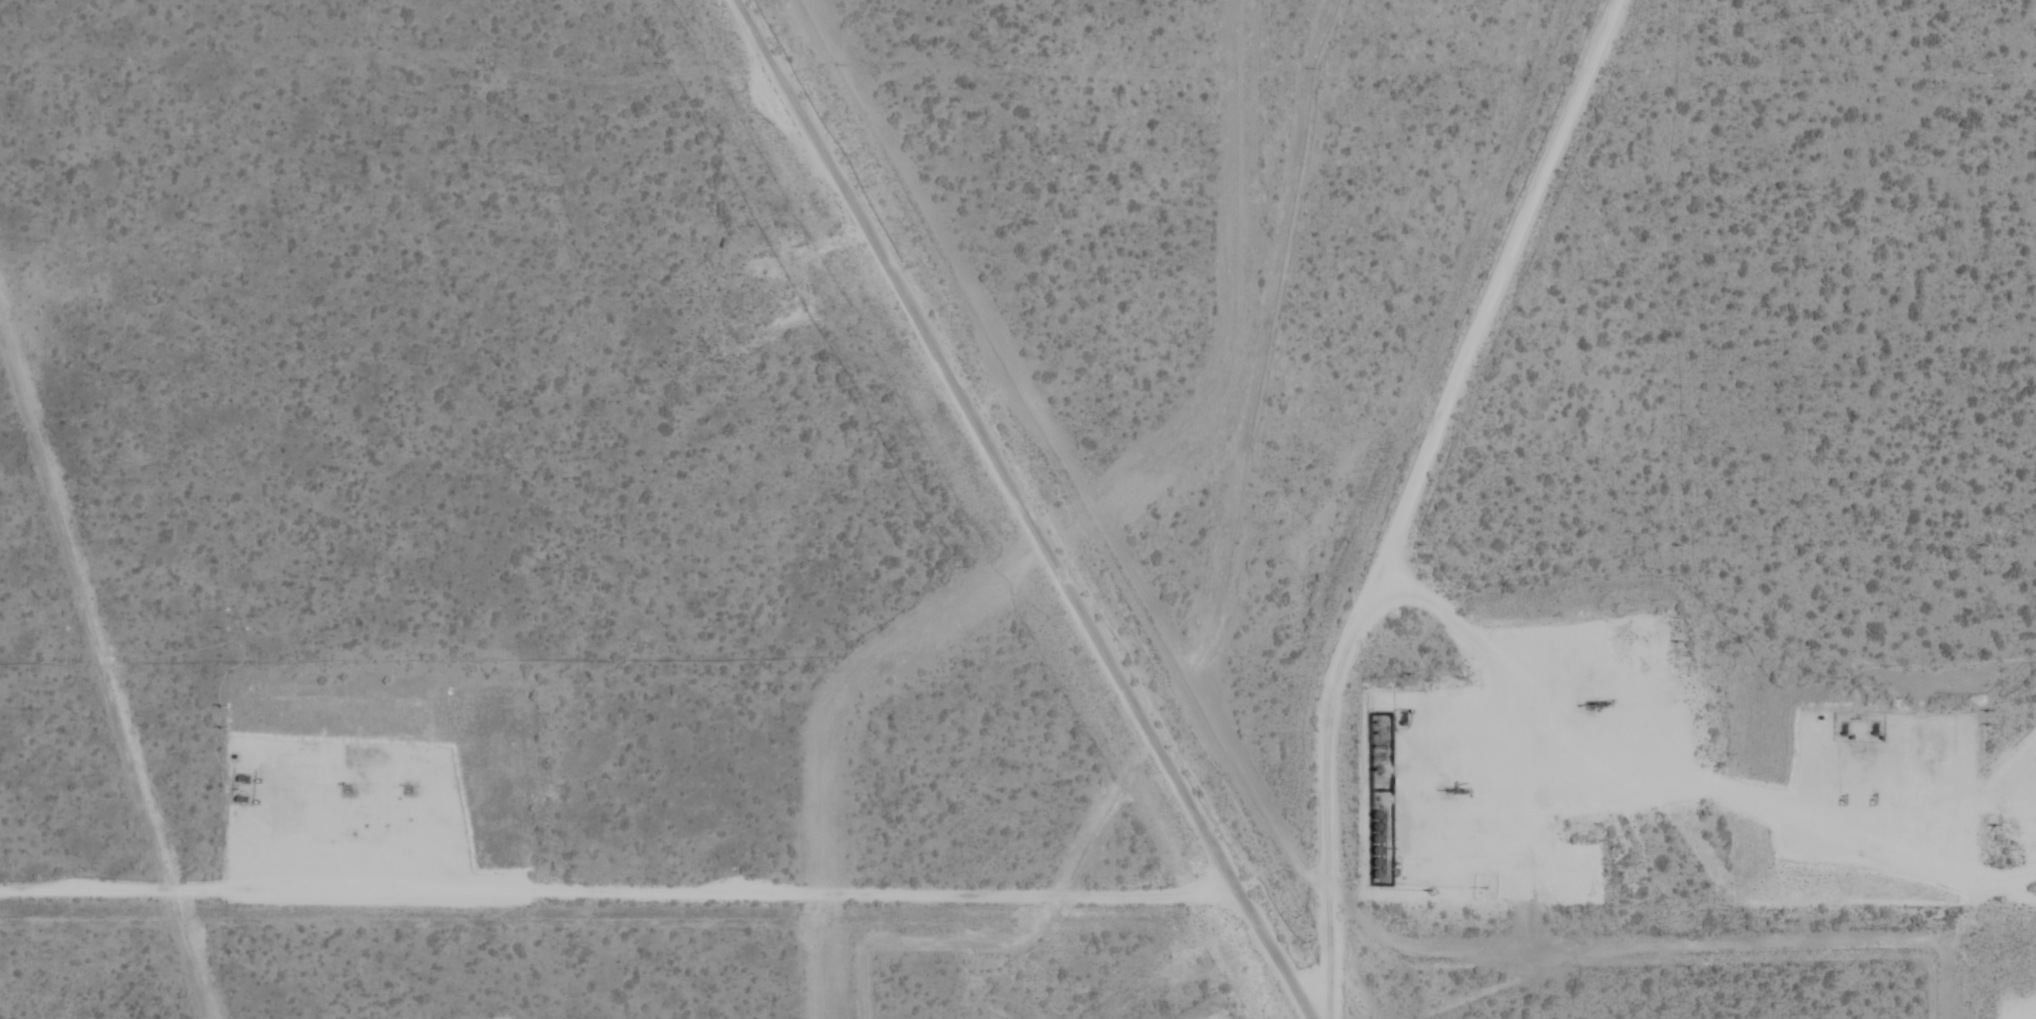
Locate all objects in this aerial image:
road: (1433, 506)
road: (1021, 511)
road: (1485, 706)
road: (1670, 789)
road: (1879, 807)
road: (326, 812)
road: (619, 890)

